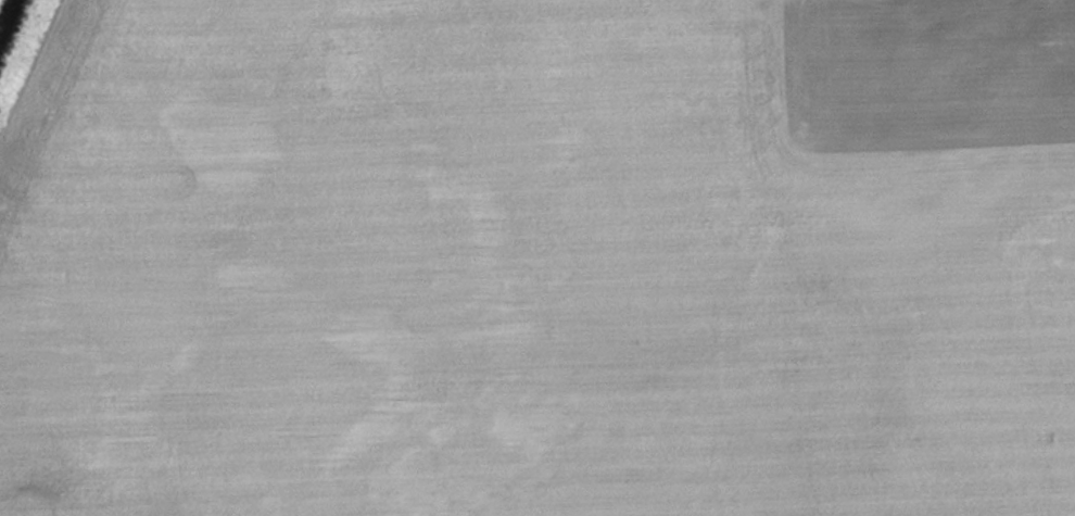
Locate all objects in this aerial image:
road: (1, 2)
building: (51, 449)

